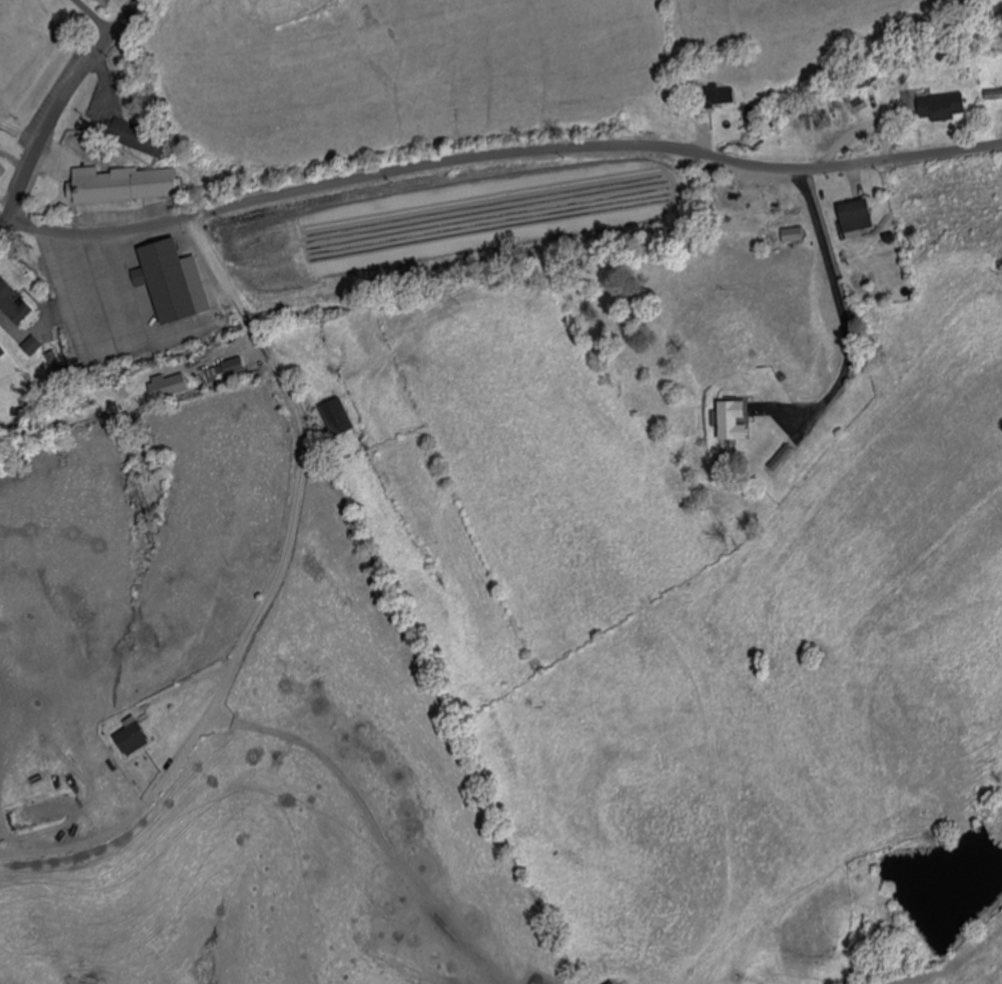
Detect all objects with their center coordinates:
building: (993, 96)
building: (717, 99)
road: (69, 101)
building: (942, 109)
building: (151, 135)
road: (57, 164)
road: (499, 166)
building: (135, 186)
road: (77, 209)
building: (856, 219)
road: (4, 220)
building: (793, 237)
building: (172, 287)
road: (131, 296)
road: (103, 302)
road: (76, 304)
building: (13, 307)
parking lot: (113, 312)
road: (840, 321)
road: (204, 333)
building: (225, 372)
building: (168, 388)
building: (336, 420)
building: (733, 424)
road: (277, 599)
building: (133, 741)

